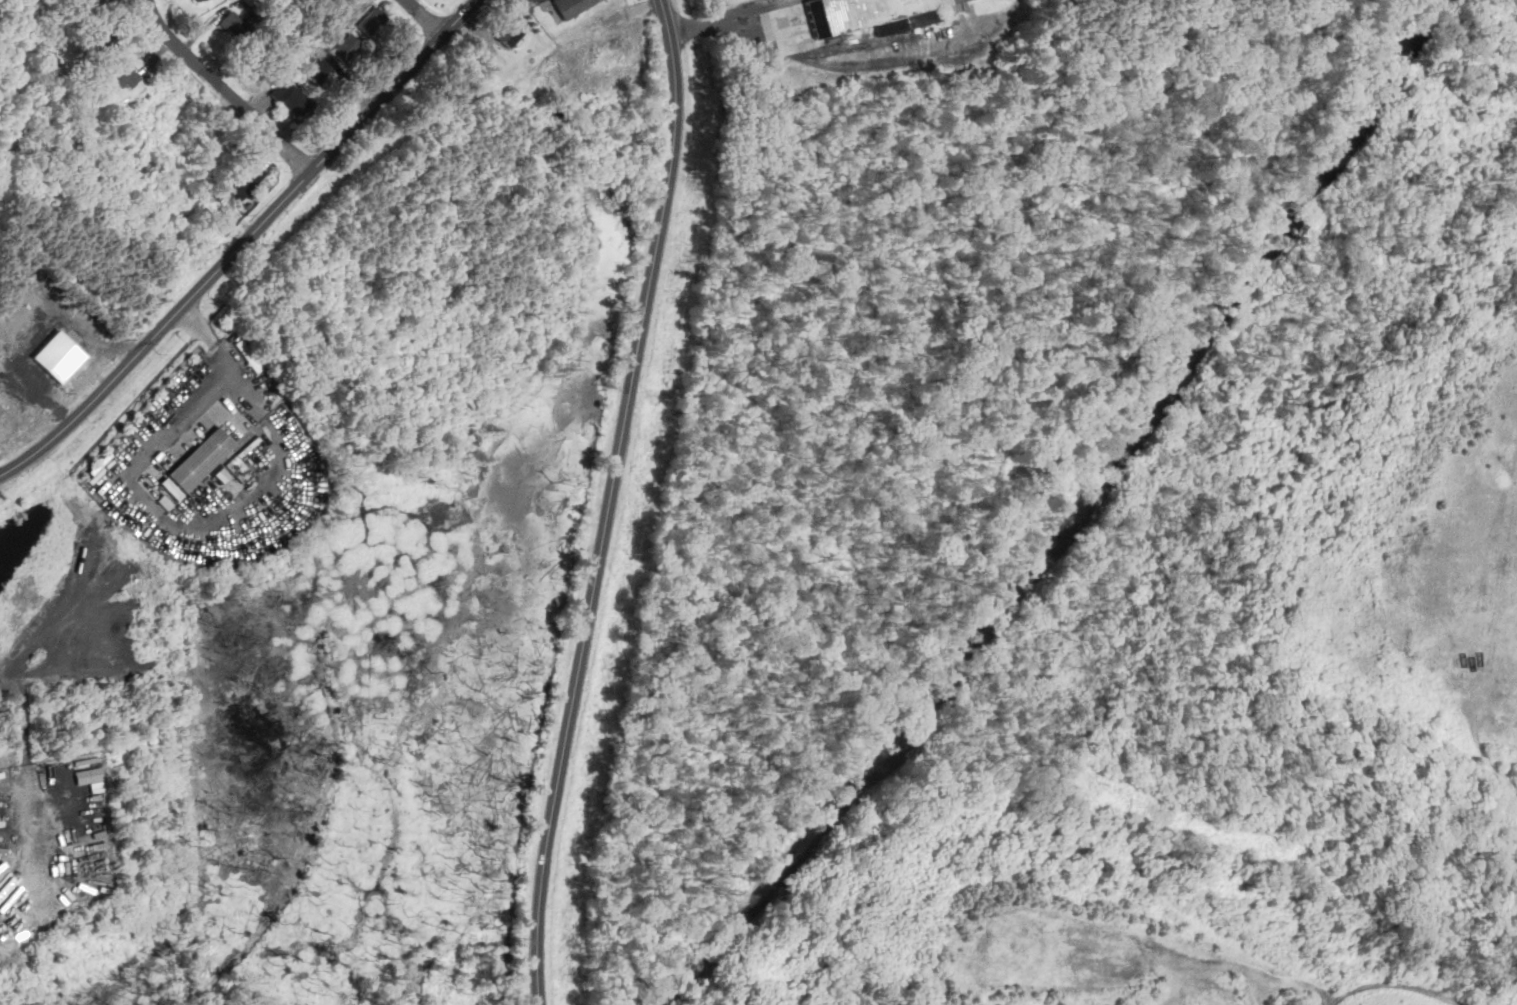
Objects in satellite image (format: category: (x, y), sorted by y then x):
building: (197, 0)
road: (505, 0)
building: (572, 6)
road: (784, 9)
building: (872, 15)
road: (425, 18)
building: (372, 19)
building: (234, 23)
building: (104, 31)
building: (509, 34)
road: (637, 37)
building: (346, 47)
road: (819, 58)
building: (320, 71)
building: (125, 75)
road: (223, 90)
building: (291, 98)
building: (246, 179)
road: (244, 243)
building: (59, 356)
building: (201, 460)
building: (171, 487)
building: (165, 501)
road: (610, 502)
road: (156, 516)
river: (1077, 520)
road: (64, 582)
road: (1377, 982)

